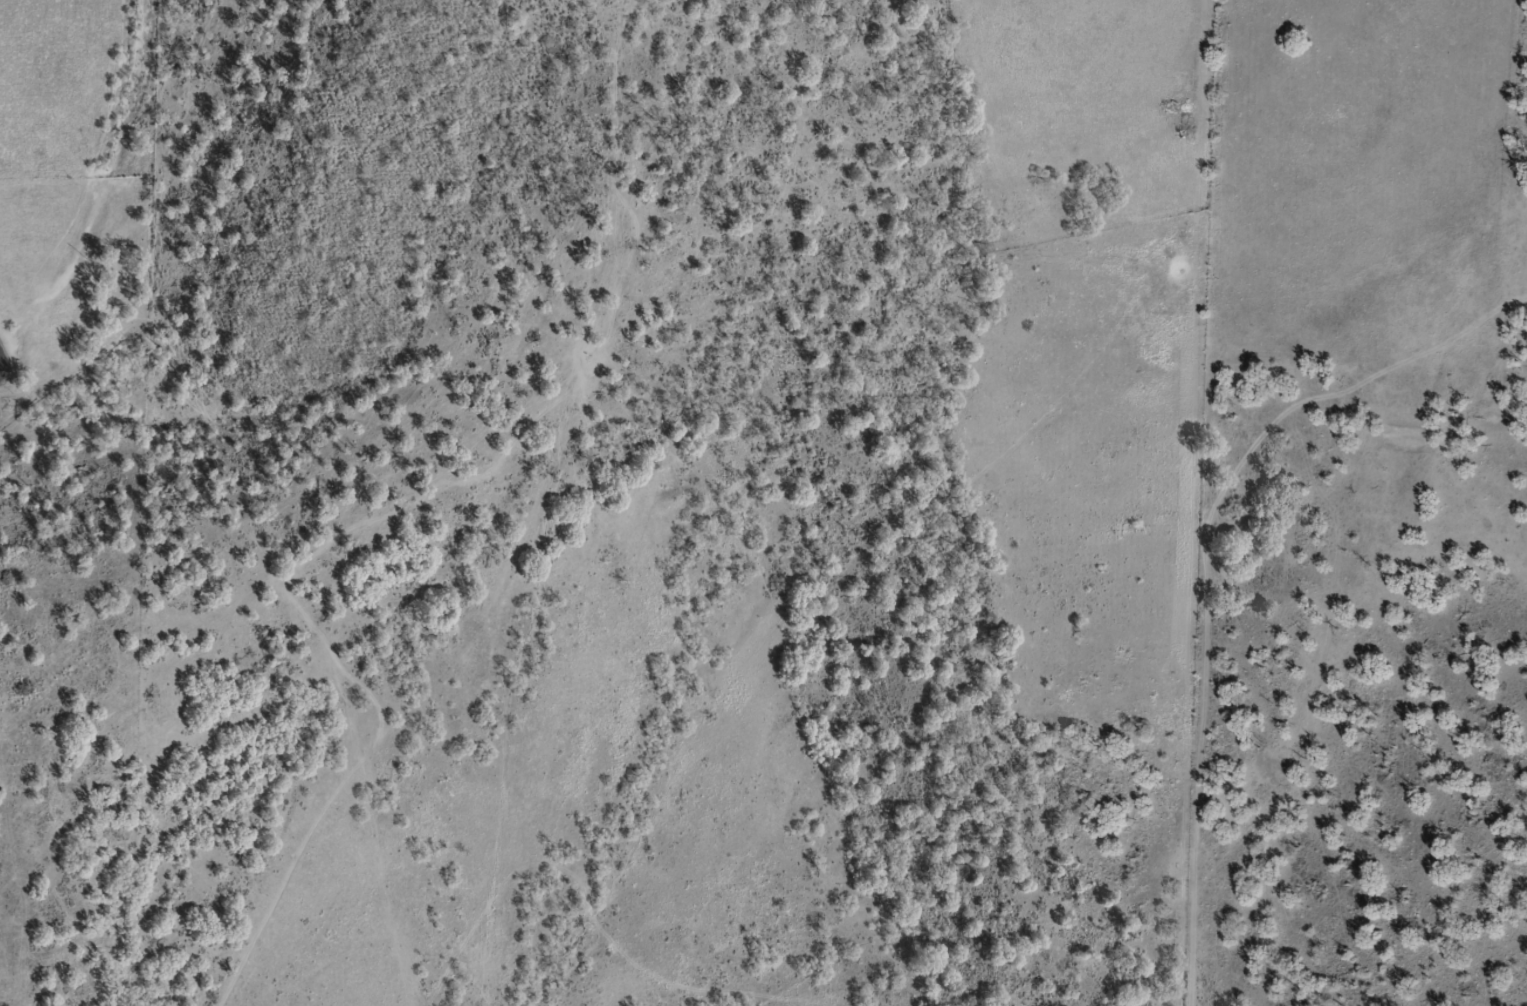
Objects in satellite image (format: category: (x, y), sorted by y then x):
road: (520, 533)

